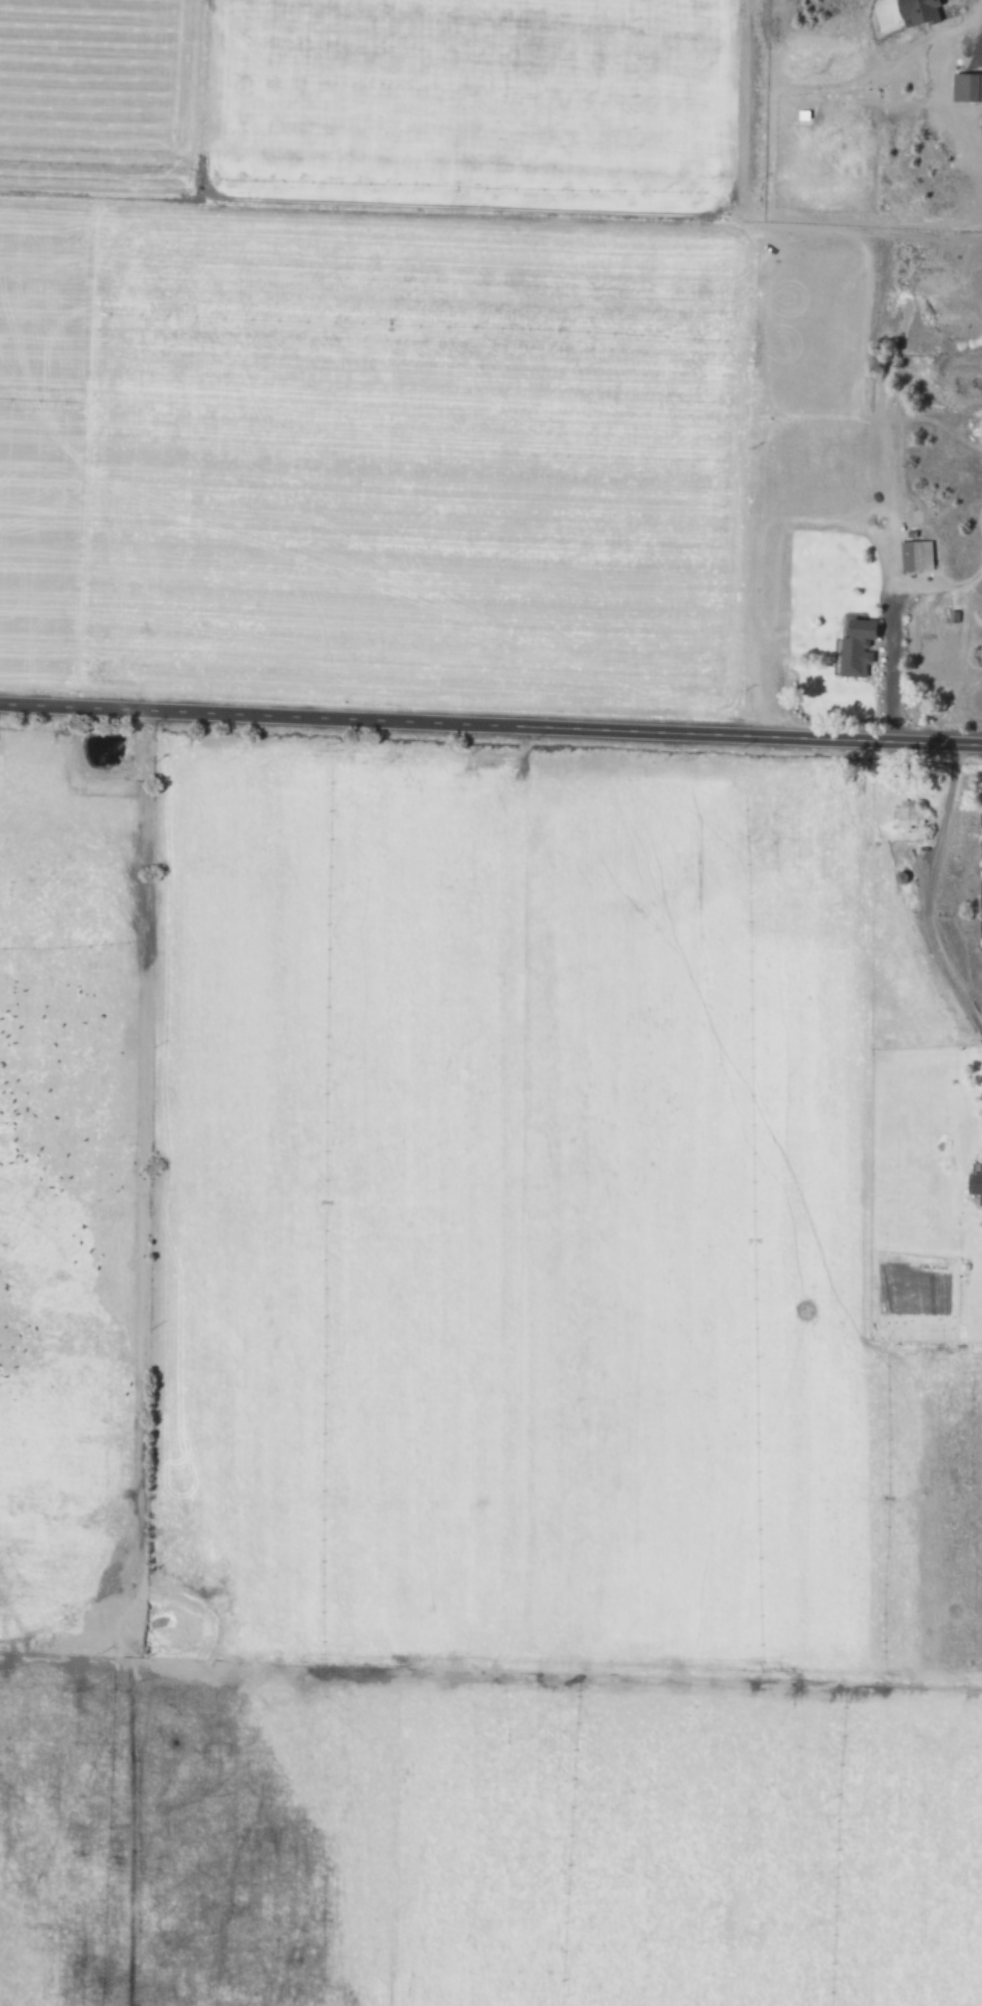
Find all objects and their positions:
building: (916, 10)
building: (965, 87)
crop: (377, 344)
building: (979, 431)
building: (914, 556)
building: (854, 648)
road: (491, 723)
building: (906, 815)
building: (975, 1184)
crop: (488, 1379)

